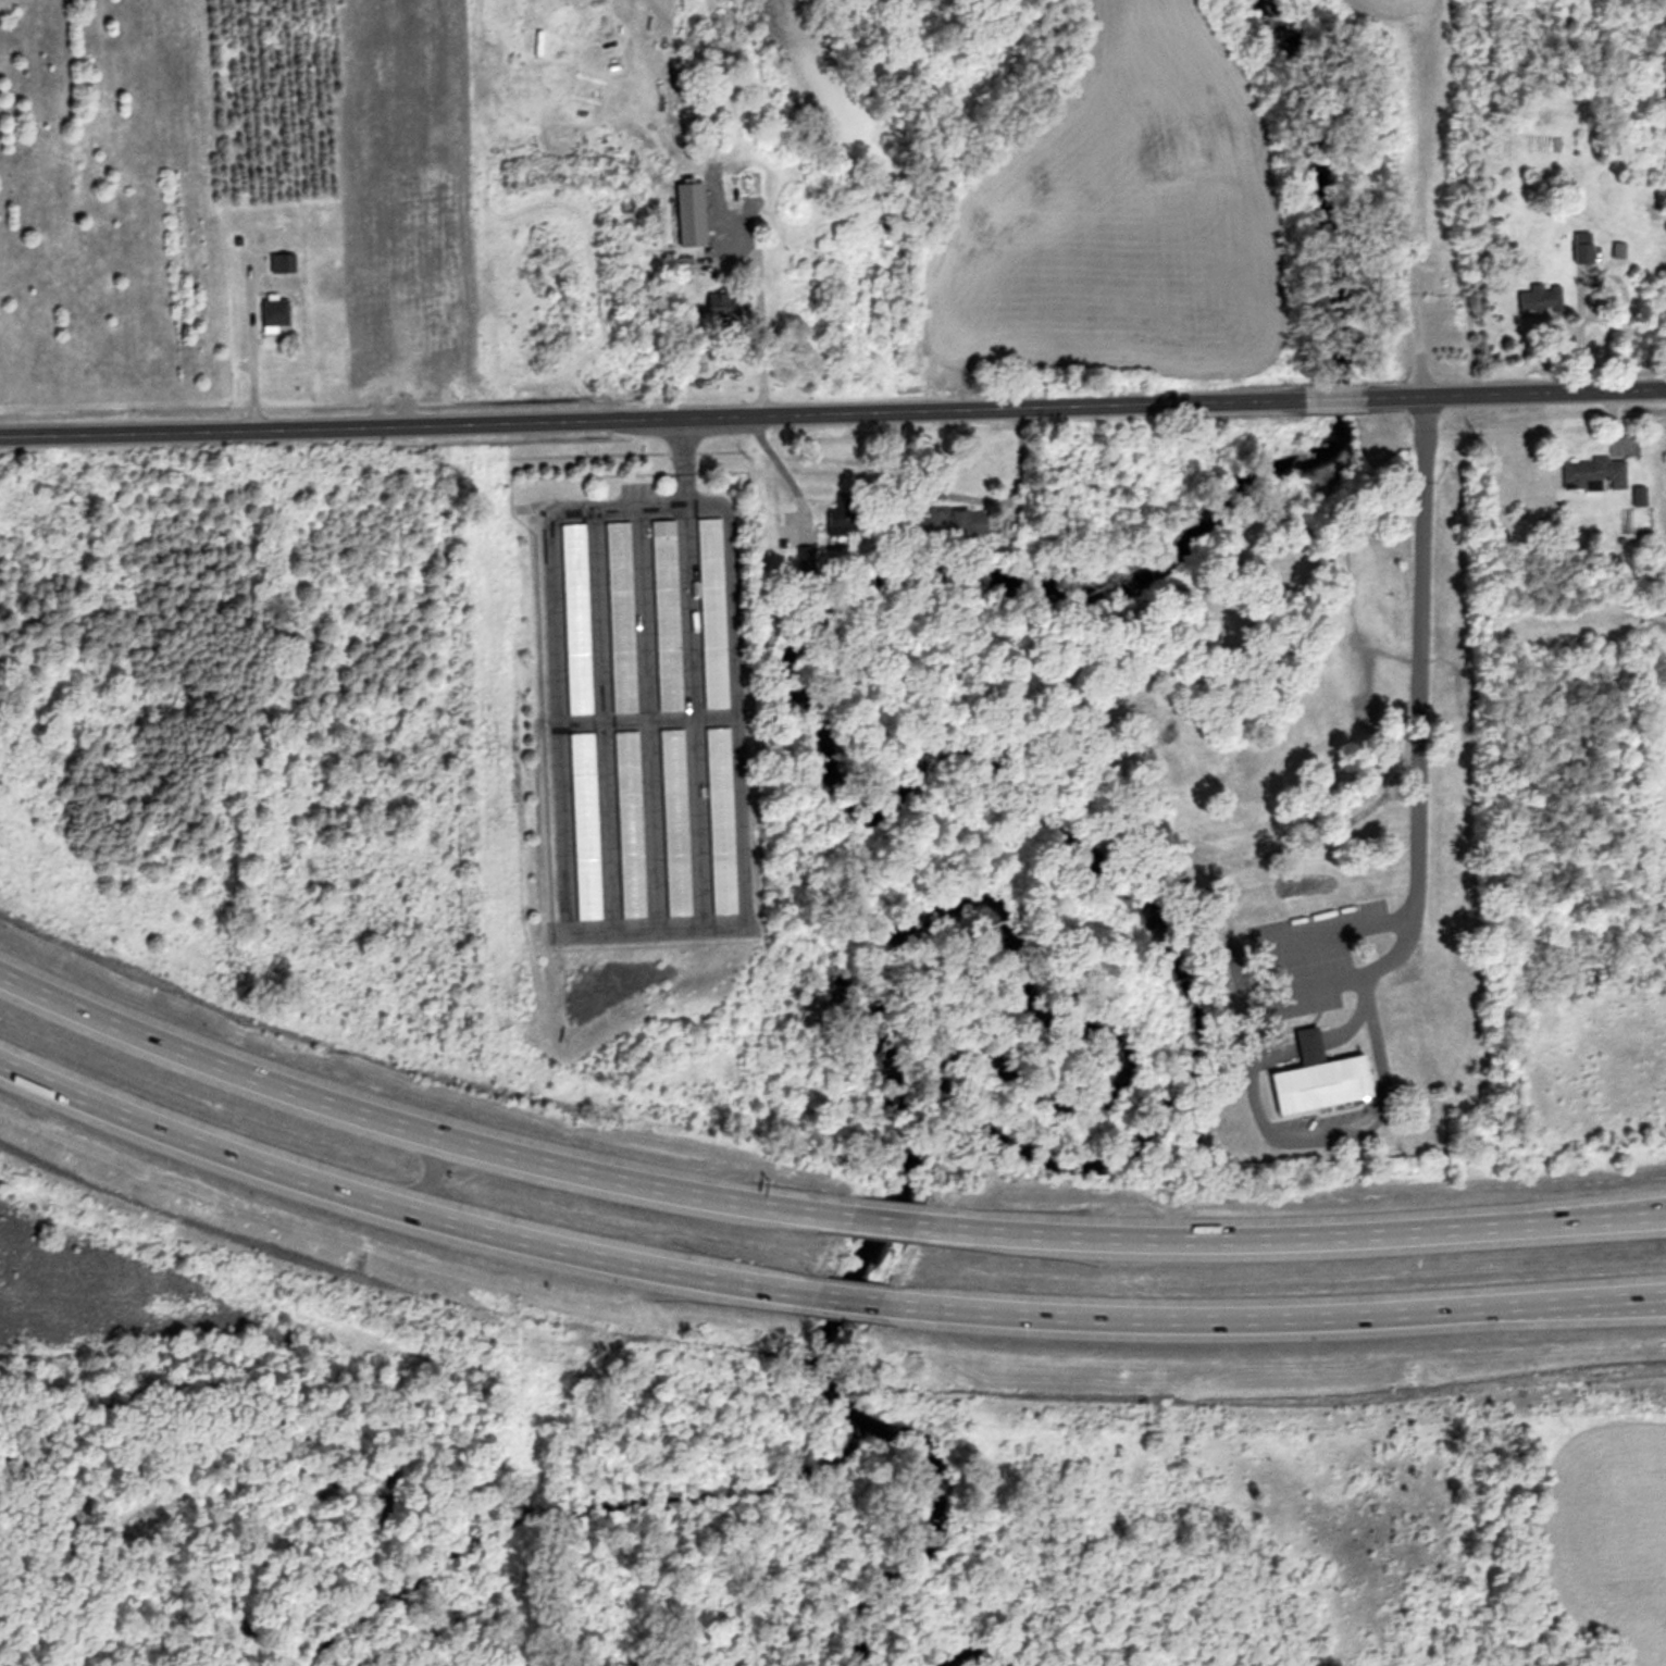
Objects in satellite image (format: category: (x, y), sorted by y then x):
building: (733, 186)
building: (689, 235)
building: (1580, 248)
building: (1617, 250)
building: (681, 265)
building: (336, 283)
road: (1581, 285)
building: (1539, 299)
building: (722, 307)
building: (412, 308)
building: (272, 313)
road: (755, 318)
road: (833, 408)
road: (1658, 418)
road: (775, 464)
building: (1592, 473)
road: (655, 507)
building: (838, 515)
building: (944, 525)
building: (707, 613)
building: (661, 616)
building: (616, 617)
building: (571, 619)
road: (683, 667)
road: (596, 699)
road: (641, 716)
road: (555, 763)
building: (716, 819)
building: (670, 821)
building: (624, 823)
building: (581, 825)
road: (1286, 940)
road: (1403, 949)
road: (1344, 1027)
road: (1304, 1041)
road: (1271, 1048)
building: (1314, 1079)
road: (815, 1207)
road: (816, 1296)

